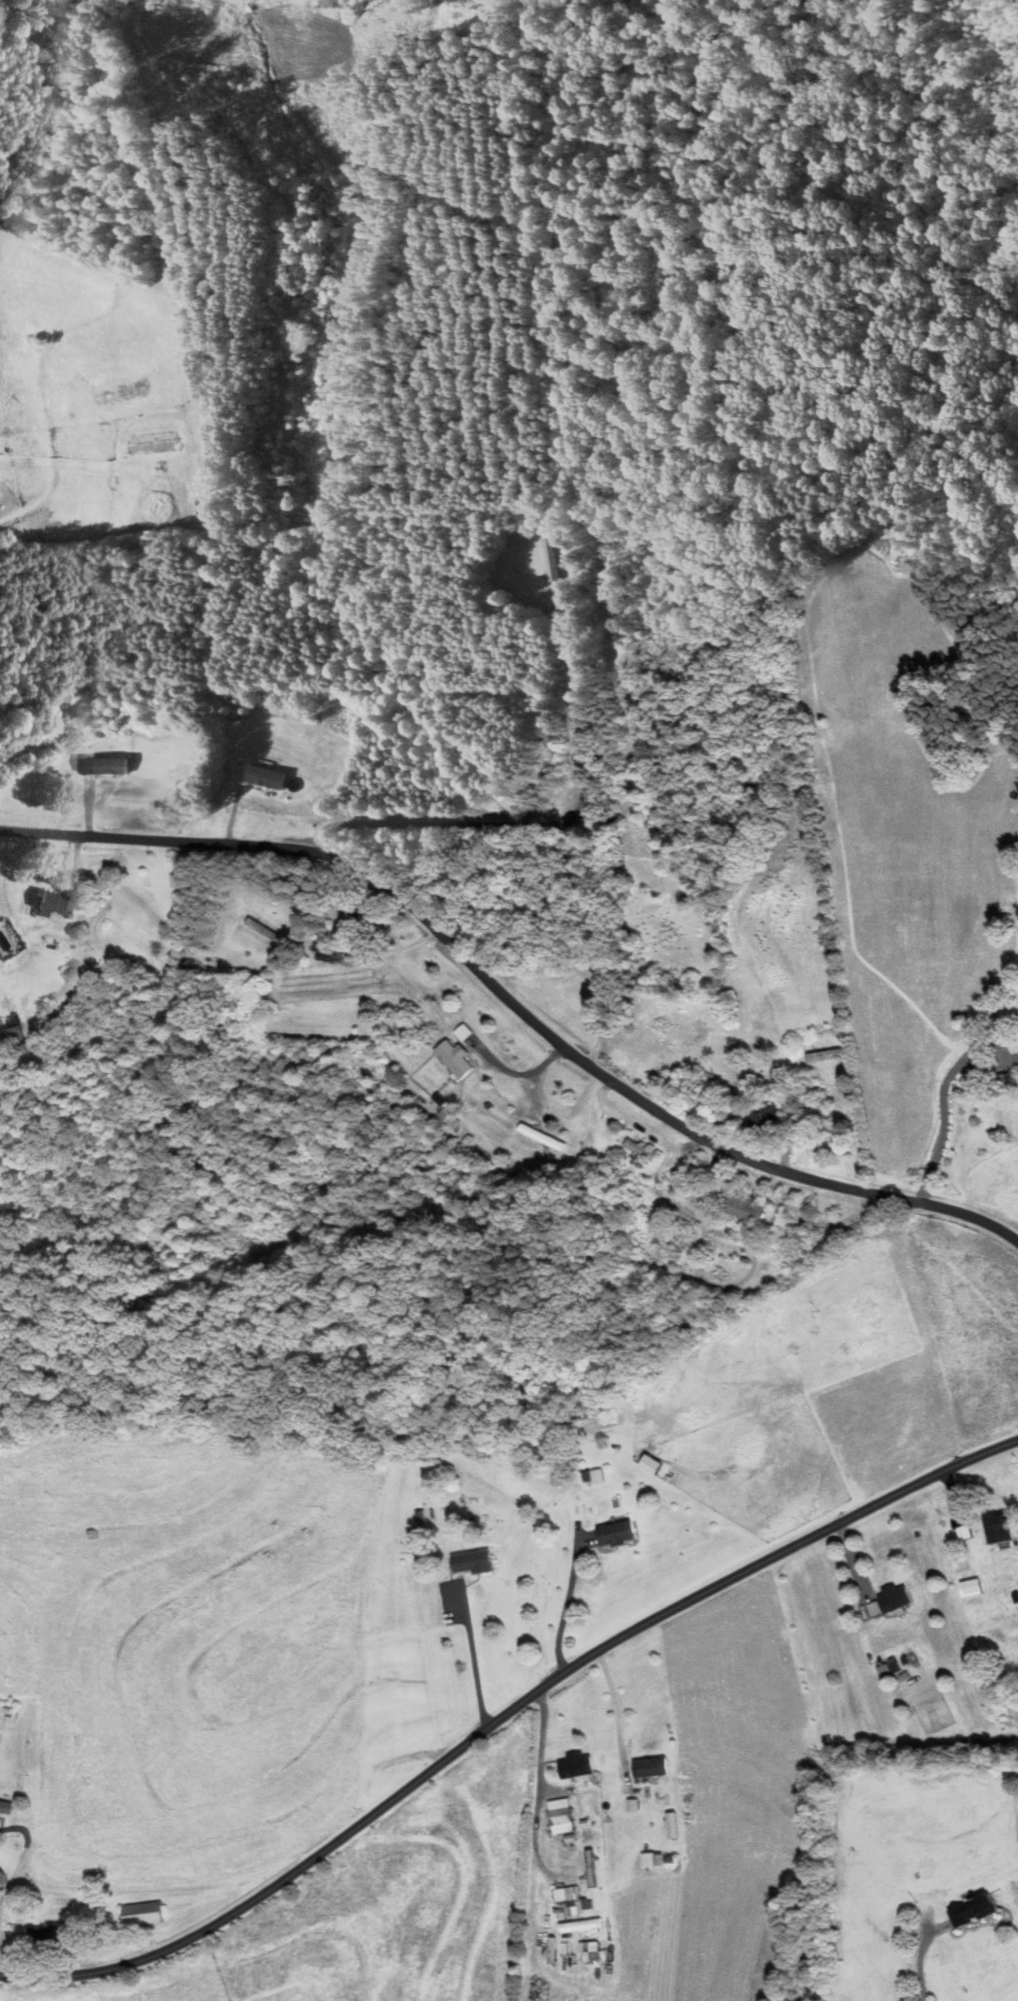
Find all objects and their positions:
building: (549, 555)
building: (112, 764)
building: (266, 775)
building: (57, 902)
building: (264, 928)
building: (332, 951)
road: (527, 986)
building: (14, 1034)
building: (830, 1054)
building: (1017, 1056)
building: (456, 1057)
road: (947, 1078)
building: (1004, 1078)
building: (713, 1097)
building: (769, 1115)
building: (837, 1117)
building: (544, 1136)
building: (642, 1148)
building: (698, 1177)
building: (745, 1207)
building: (1001, 1526)
building: (967, 1532)
building: (618, 1533)
building: (474, 1560)
building: (975, 1587)
building: (898, 1597)
road: (566, 1601)
road: (472, 1655)
road: (504, 1713)
building: (579, 1768)
building: (653, 1768)
road: (537, 1790)
building: (7, 1807)
building: (564, 1816)
building: (593, 1868)
building: (578, 1907)
building: (977, 1911)
building: (144, 1913)
building: (50, 1935)
road: (900, 1955)

